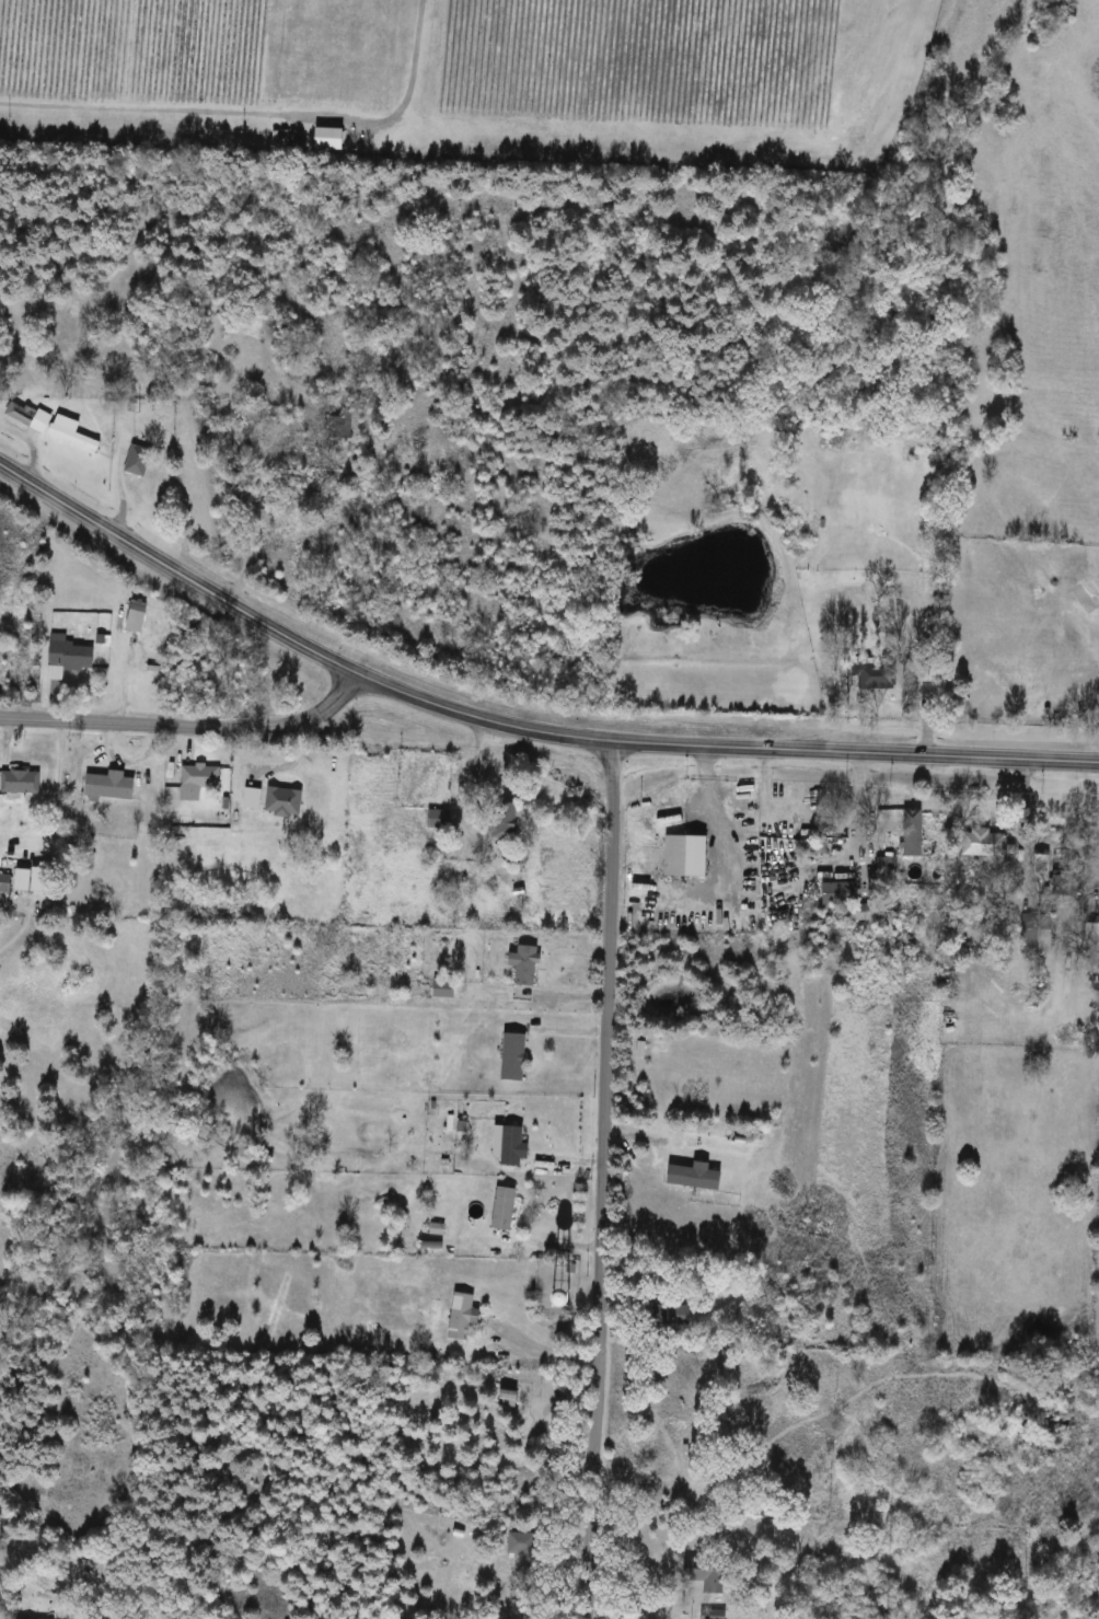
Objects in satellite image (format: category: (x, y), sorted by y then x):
building: (327, 139)
building: (246, 412)
building: (20, 414)
building: (342, 427)
building: (71, 433)
building: (137, 461)
building: (136, 617)
building: (67, 658)
building: (867, 675)
road: (516, 727)
road: (186, 728)
building: (199, 777)
building: (19, 783)
building: (108, 787)
building: (438, 820)
building: (504, 822)
building: (912, 828)
building: (981, 845)
building: (684, 857)
building: (1040, 867)
building: (884, 868)
building: (1063, 883)
building: (4, 889)
building: (836, 894)
building: (1036, 934)
building: (1091, 939)
building: (524, 965)
building: (442, 990)
building: (512, 1057)
building: (509, 1147)
road: (604, 1182)
building: (502, 1210)
building: (670, 1316)
building: (462, 1318)
road: (545, 1346)
building: (811, 1366)
building: (659, 1434)
building: (521, 1546)
building: (705, 1574)
building: (712, 1615)

